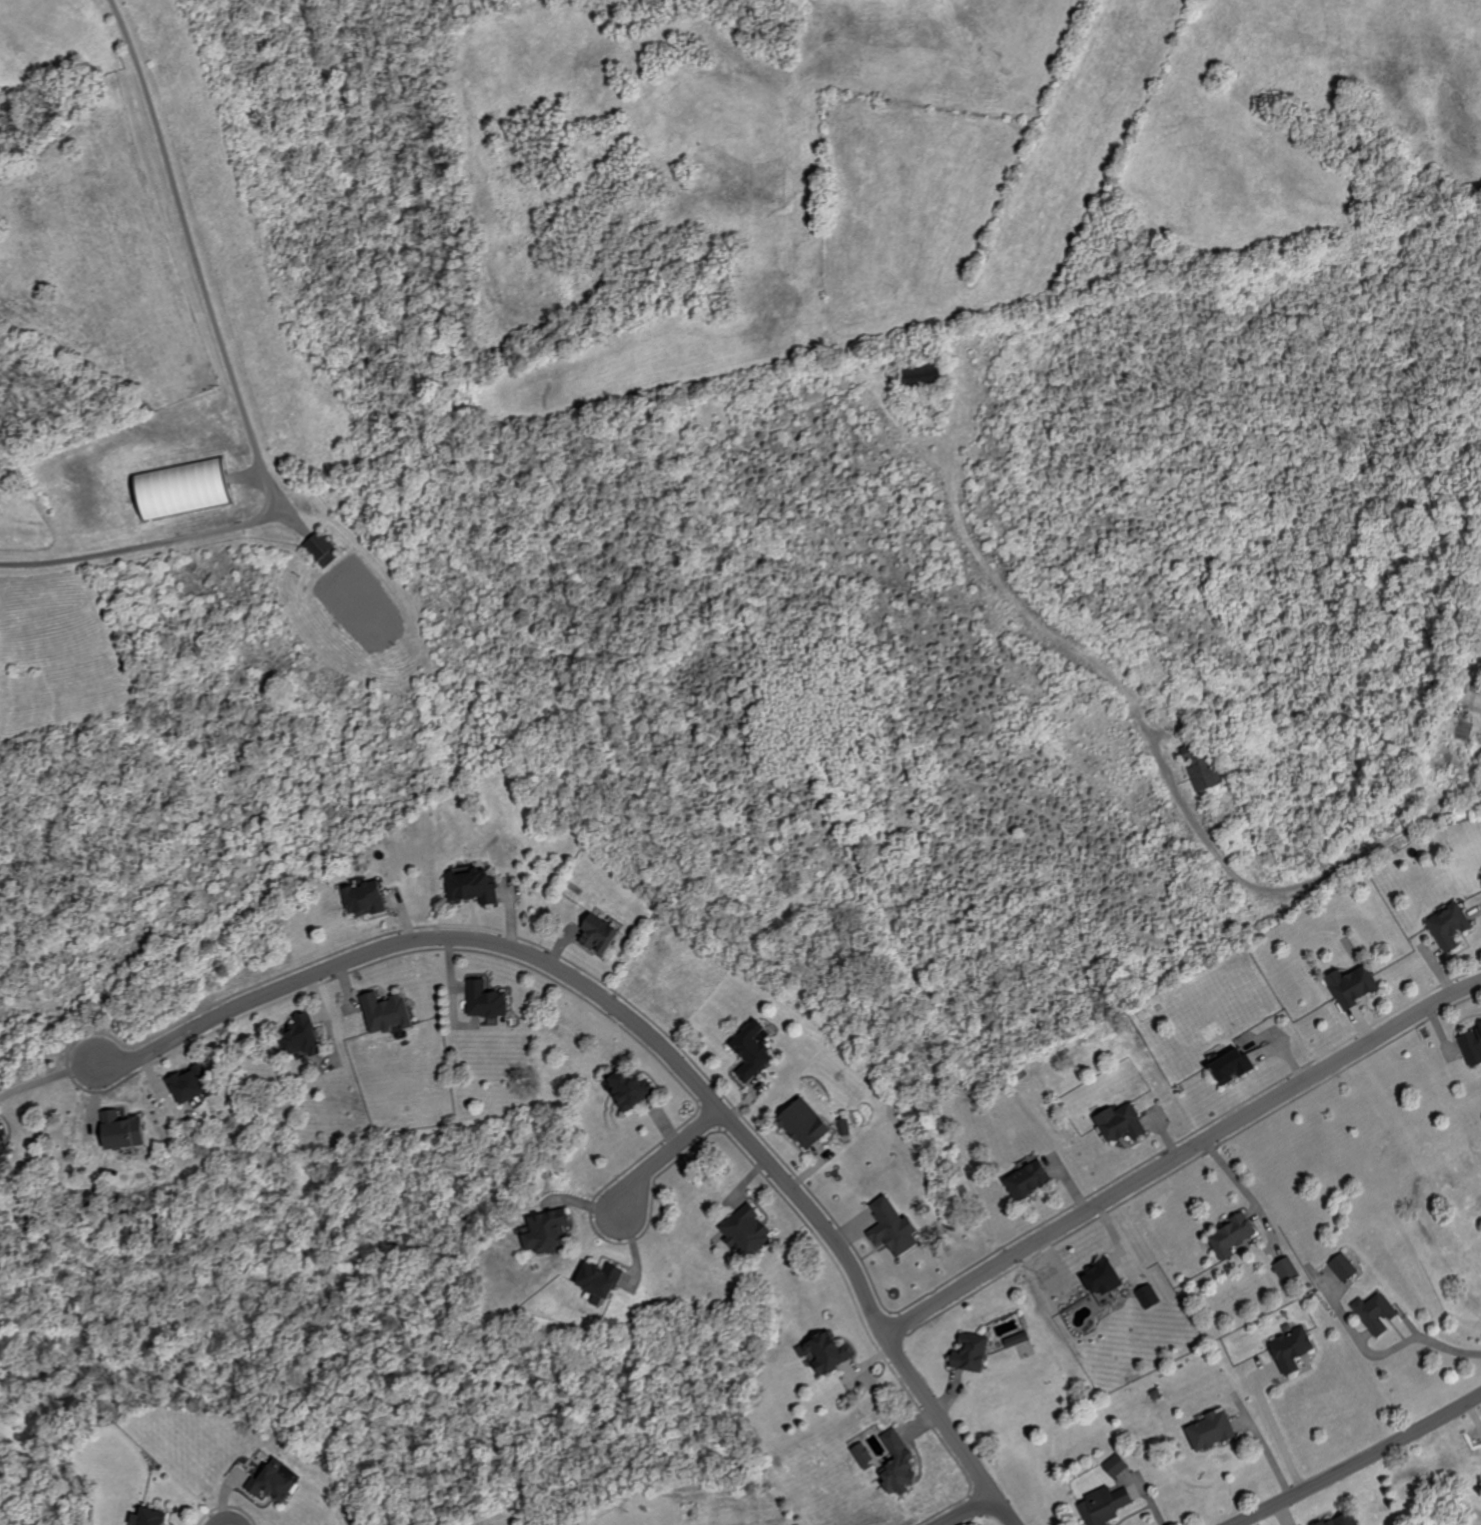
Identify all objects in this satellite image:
road: (197, 265)
building: (919, 374)
building: (181, 489)
road: (125, 546)
building: (321, 549)
road: (1479, 697)
building: (1199, 766)
road: (1297, 882)
building: (471, 886)
building: (363, 899)
building: (1449, 926)
building: (598, 934)
road: (424, 940)
building: (1352, 986)
building: (485, 1001)
building: (386, 1013)
building: (299, 1037)
building: (1472, 1046)
building: (751, 1051)
building: (1231, 1067)
road: (48, 1075)
building: (189, 1082)
building: (630, 1087)
building: (1120, 1121)
building: (804, 1122)
building: (845, 1125)
building: (119, 1128)
building: (0, 1132)
building: (3, 1152)
road: (667, 1155)
road: (1180, 1156)
building: (1027, 1178)
road: (813, 1217)
building: (892, 1226)
building: (547, 1230)
building: (746, 1230)
building: (1231, 1235)
building: (1343, 1266)
building: (1287, 1269)
building: (1102, 1276)
building: (598, 1280)
building: (1148, 1295)
building: (1375, 1312)
building: (1017, 1338)
building: (1291, 1348)
road: (1383, 1350)
building: (825, 1351)
building: (970, 1351)
building: (1211, 1429)
road: (948, 1431)
road: (1280, 1434)
building: (863, 1454)
road: (1360, 1461)
building: (898, 1463)
building: (1116, 1464)
building: (273, 1481)
building: (1104, 1504)
road: (969, 1511)
building: (148, 1517)
building: (1342, 1519)

